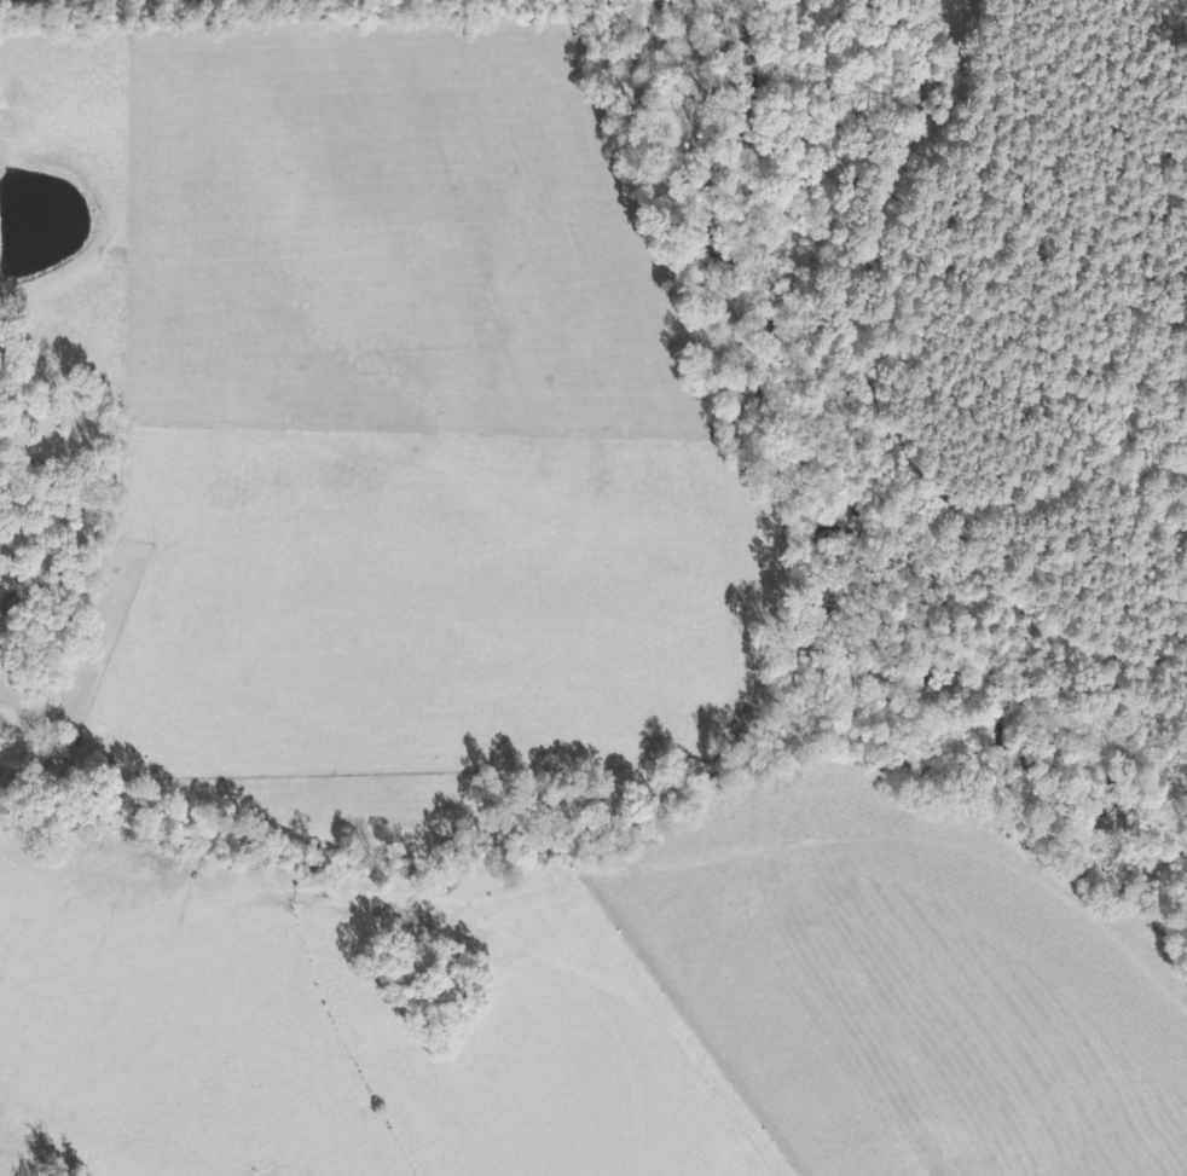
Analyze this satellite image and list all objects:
building: (12, 604)

